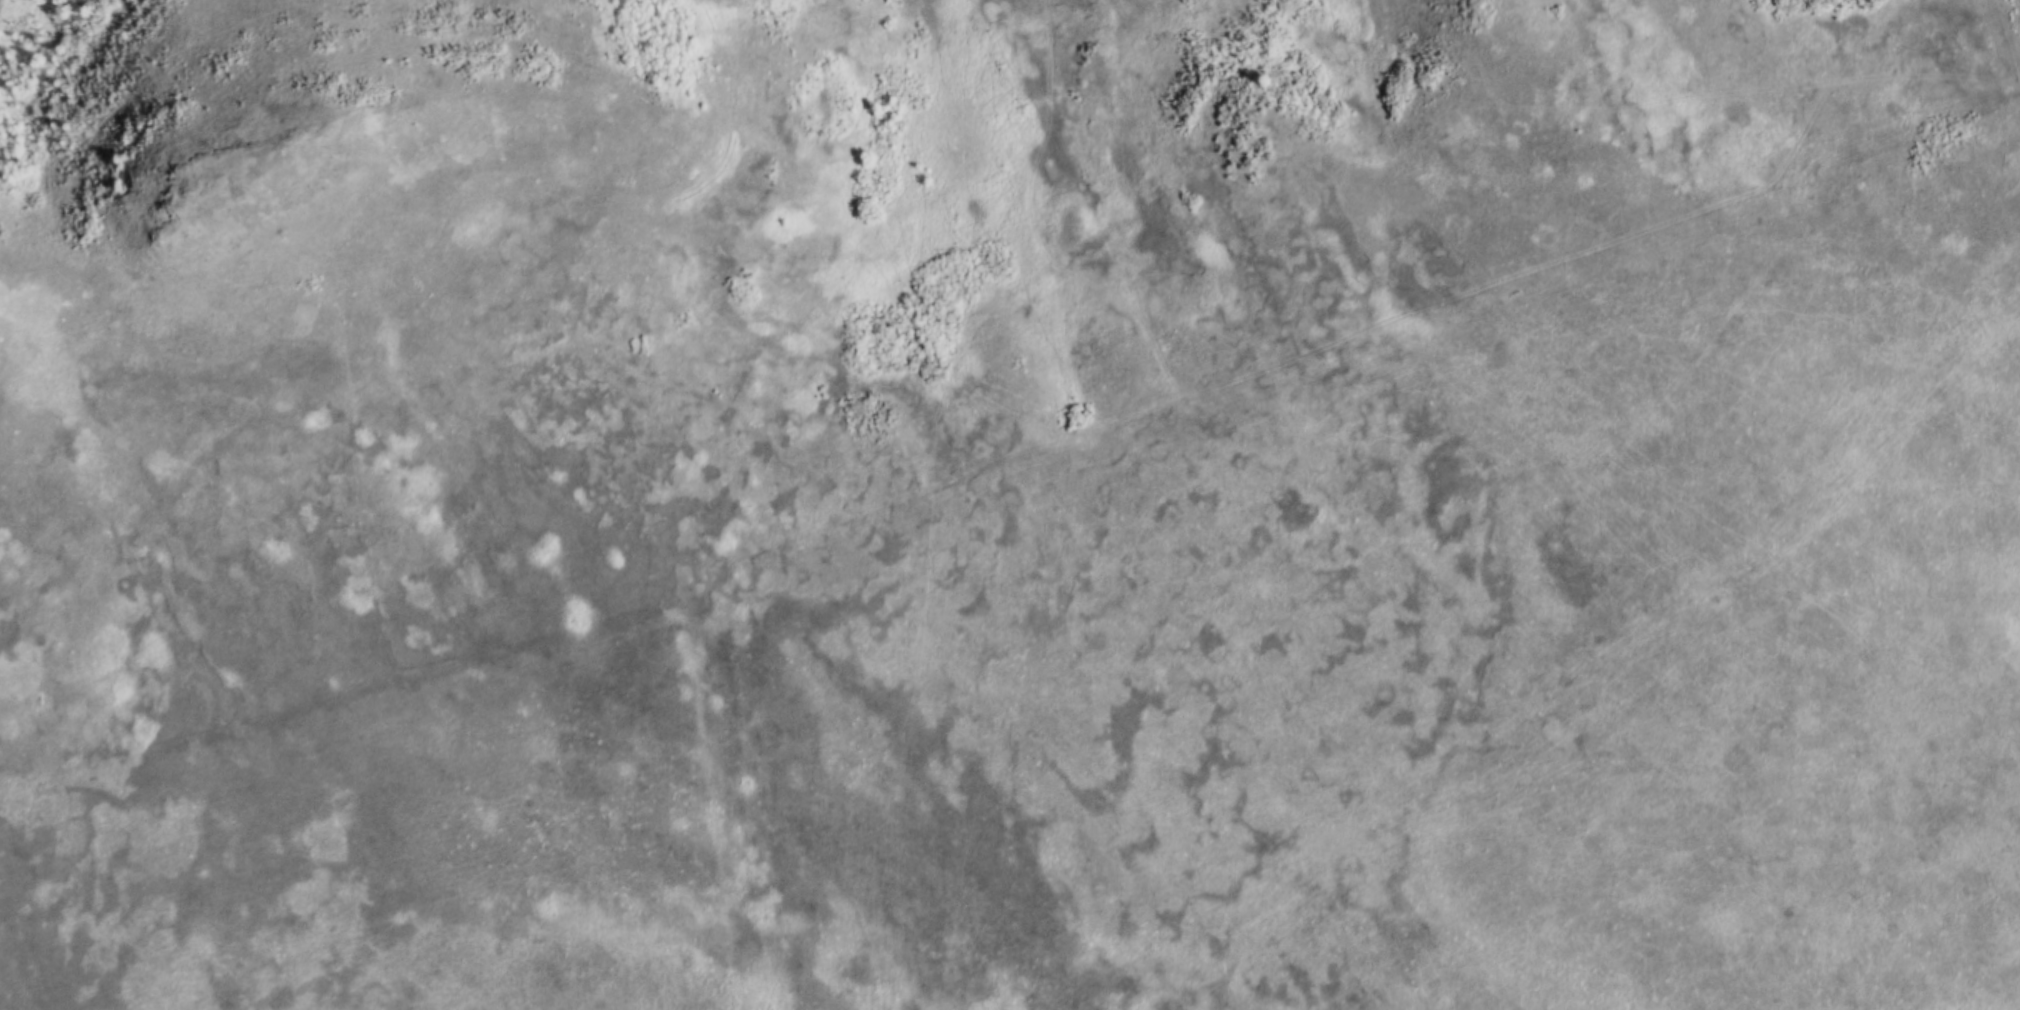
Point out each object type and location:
road: (1380, 325)

